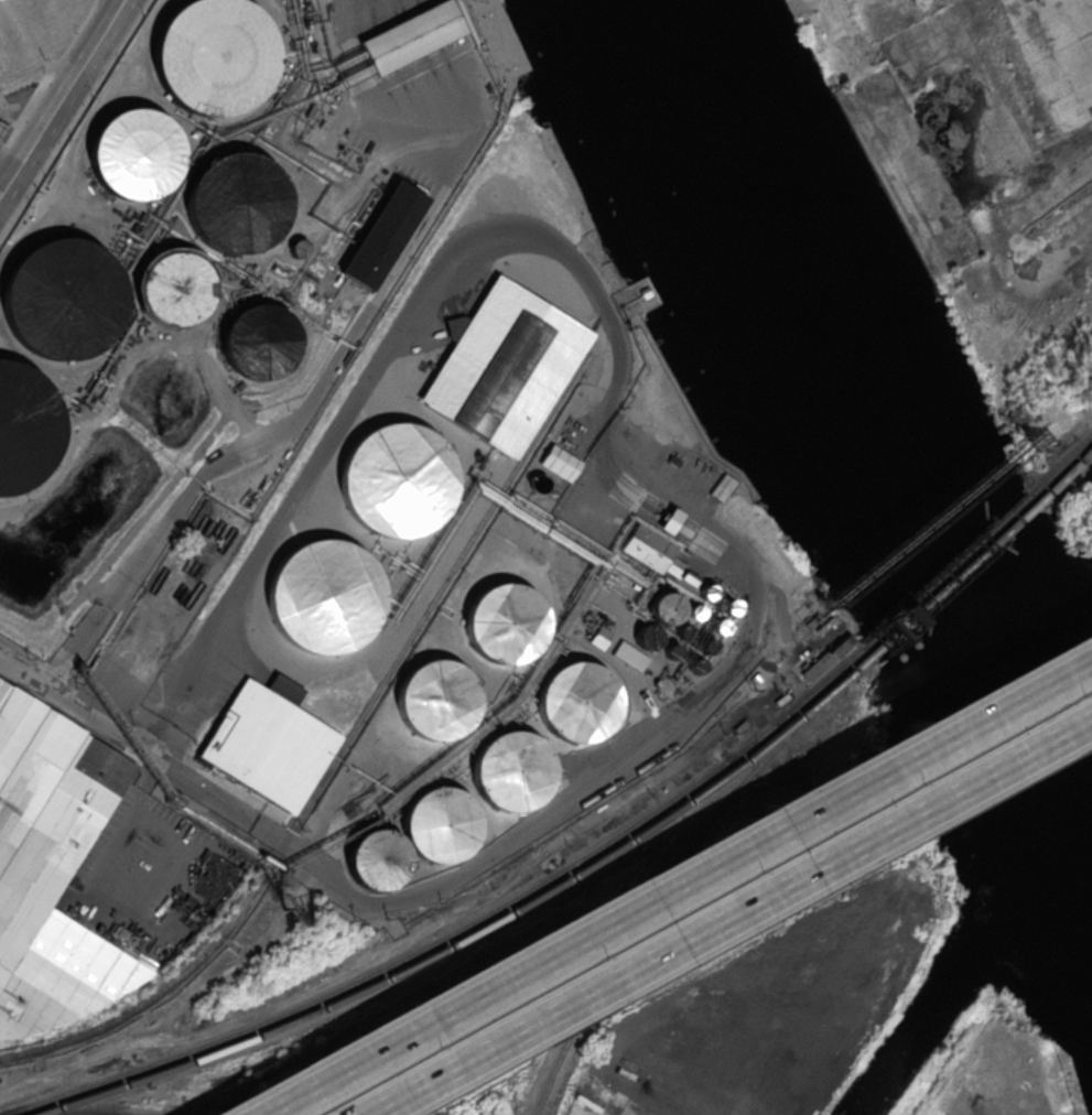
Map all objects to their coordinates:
road: (118, 11)
building: (410, 35)
building: (213, 55)
storage tank: (213, 55)
road: (39, 67)
road: (372, 104)
road: (55, 109)
building: (3, 131)
building: (132, 154)
storage tank: (132, 154)
building: (234, 203)
storage tank: (234, 203)
building: (381, 232)
building: (176, 288)
storage tank: (176, 288)
building: (61, 296)
storage tank: (61, 296)
building: (260, 339)
storage tank: (260, 339)
building: (504, 367)
road: (299, 414)
building: (24, 426)
storage tank: (24, 426)
river: (854, 430)
building: (560, 463)
railway: (1061, 466)
railway: (1068, 472)
railway: (1063, 475)
building: (396, 483)
storage tank: (396, 483)
building: (718, 489)
park: (1080, 537)
building: (652, 551)
railway: (948, 570)
railway: (954, 576)
building: (706, 592)
storage tank: (706, 592)
building: (323, 597)
storage tank: (323, 597)
building: (732, 605)
storage tank: (732, 605)
building: (664, 607)
storage tank: (664, 607)
building: (695, 610)
storage tank: (695, 610)
building: (504, 623)
storage tank: (504, 623)
building: (718, 626)
storage tank: (718, 626)
building: (682, 631)
storage tank: (682, 631)
building: (647, 636)
storage tank: (647, 636)
building: (598, 637)
building: (706, 645)
storage tank: (706, 645)
building: (671, 650)
storage tank: (671, 650)
building: (630, 654)
building: (822, 659)
building: (695, 665)
storage tank: (695, 665)
road: (28, 670)
building: (436, 699)
storage tank: (436, 699)
building: (577, 700)
storage tank: (577, 700)
building: (269, 745)
railway: (335, 756)
road: (151, 758)
building: (511, 771)
storage tank: (511, 771)
road: (547, 811)
building: (441, 822)
storage tank: (441, 822)
building: (45, 847)
building: (376, 857)
storage tank: (376, 857)
railway: (664, 875)
road: (671, 881)
road: (99, 896)
road: (727, 912)
railway: (459, 928)
railway: (476, 930)

